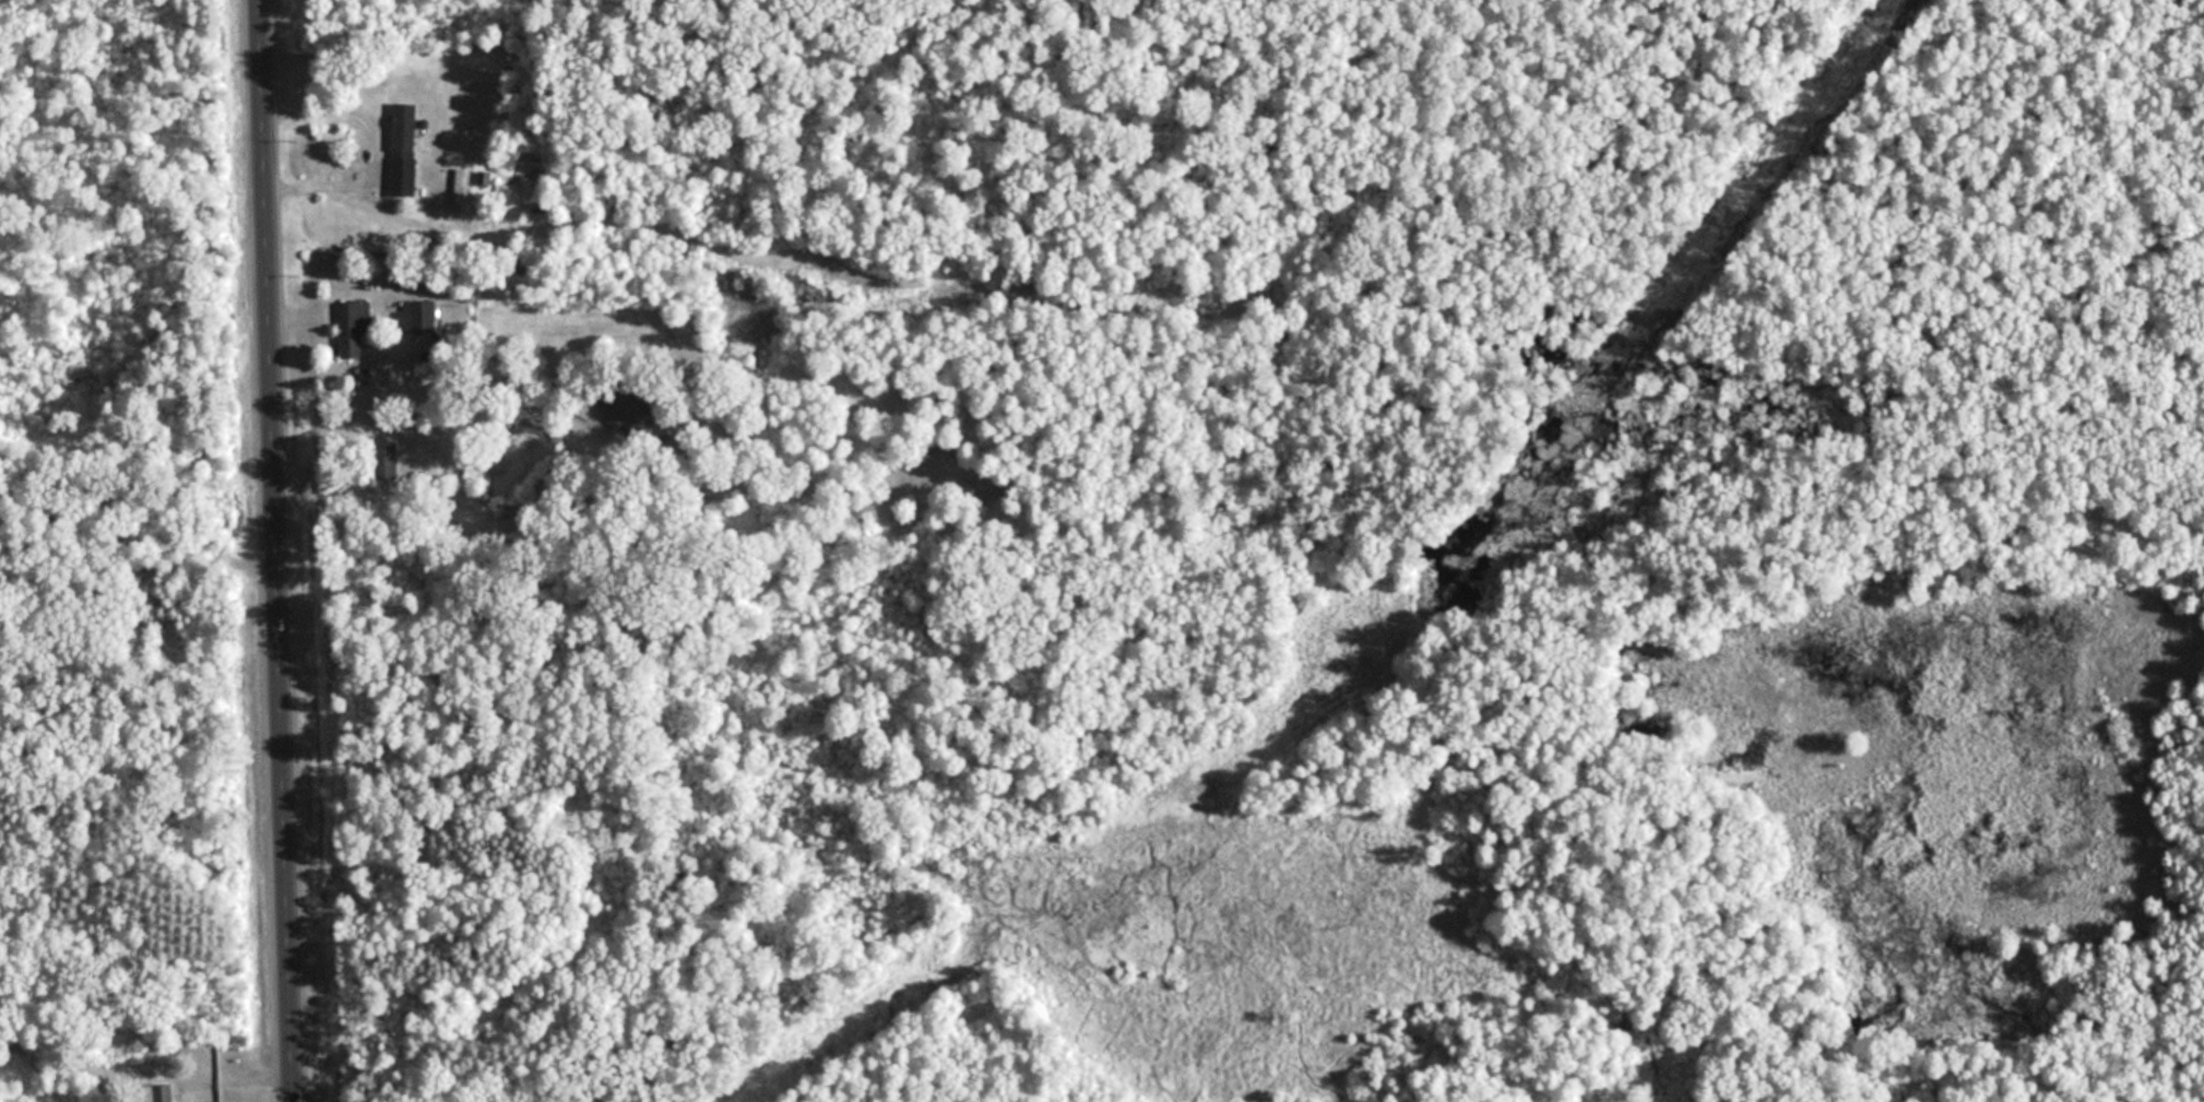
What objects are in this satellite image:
road: (368, 149)
building: (404, 150)
building: (460, 190)
building: (412, 317)
building: (355, 328)
road: (275, 550)
park: (1384, 632)
building: (162, 1093)

